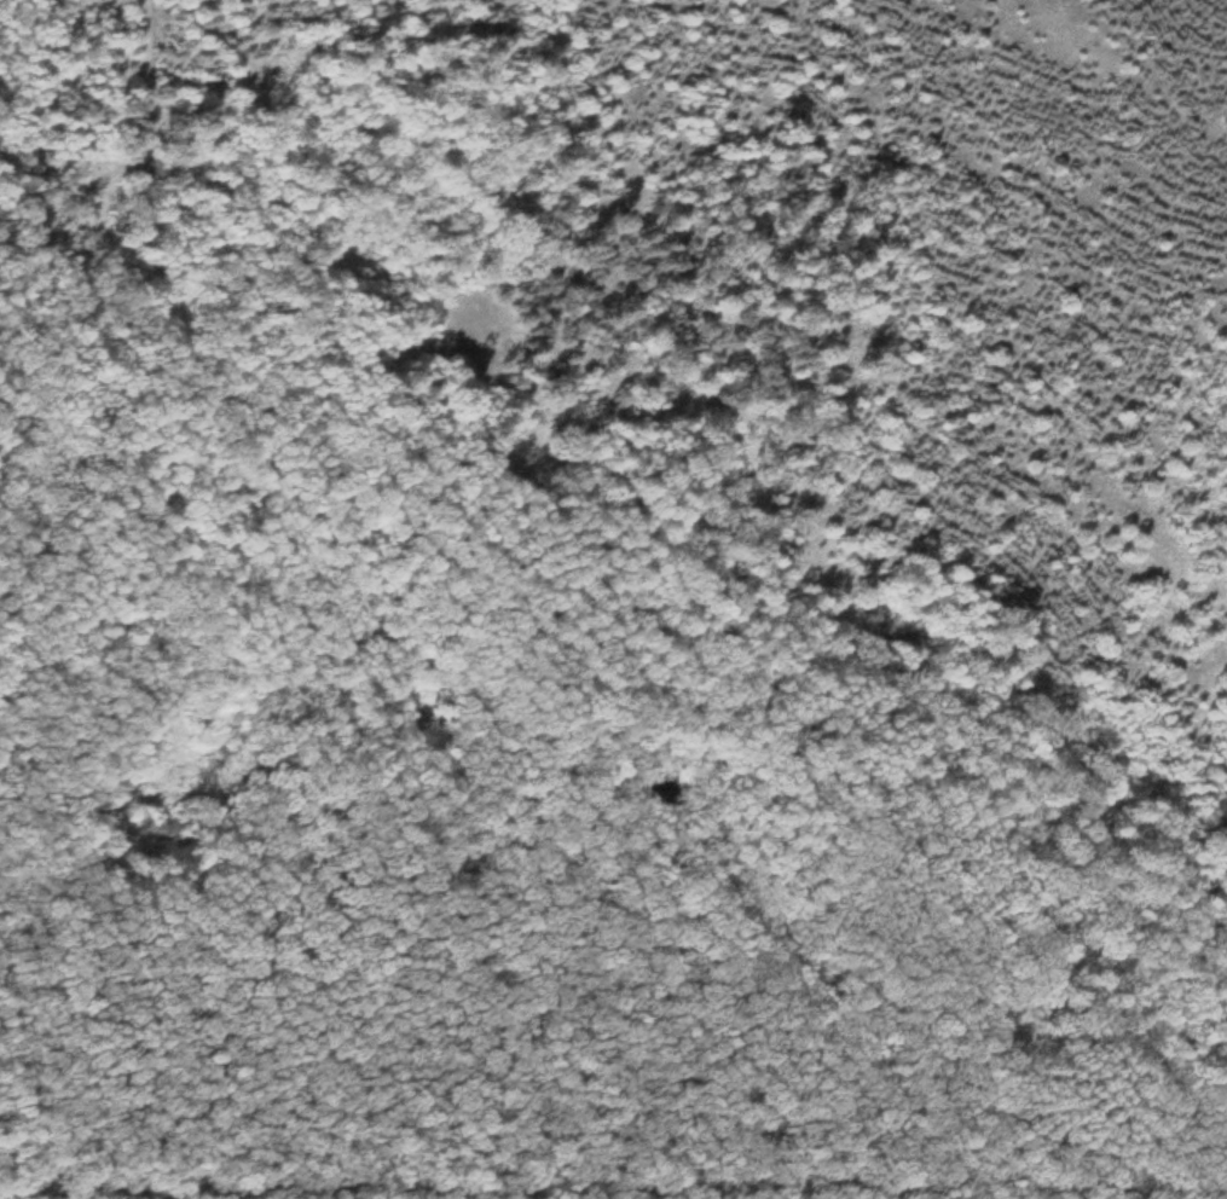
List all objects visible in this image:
road: (137, 326)
road: (742, 714)
road: (613, 1183)
road: (242, 1193)

